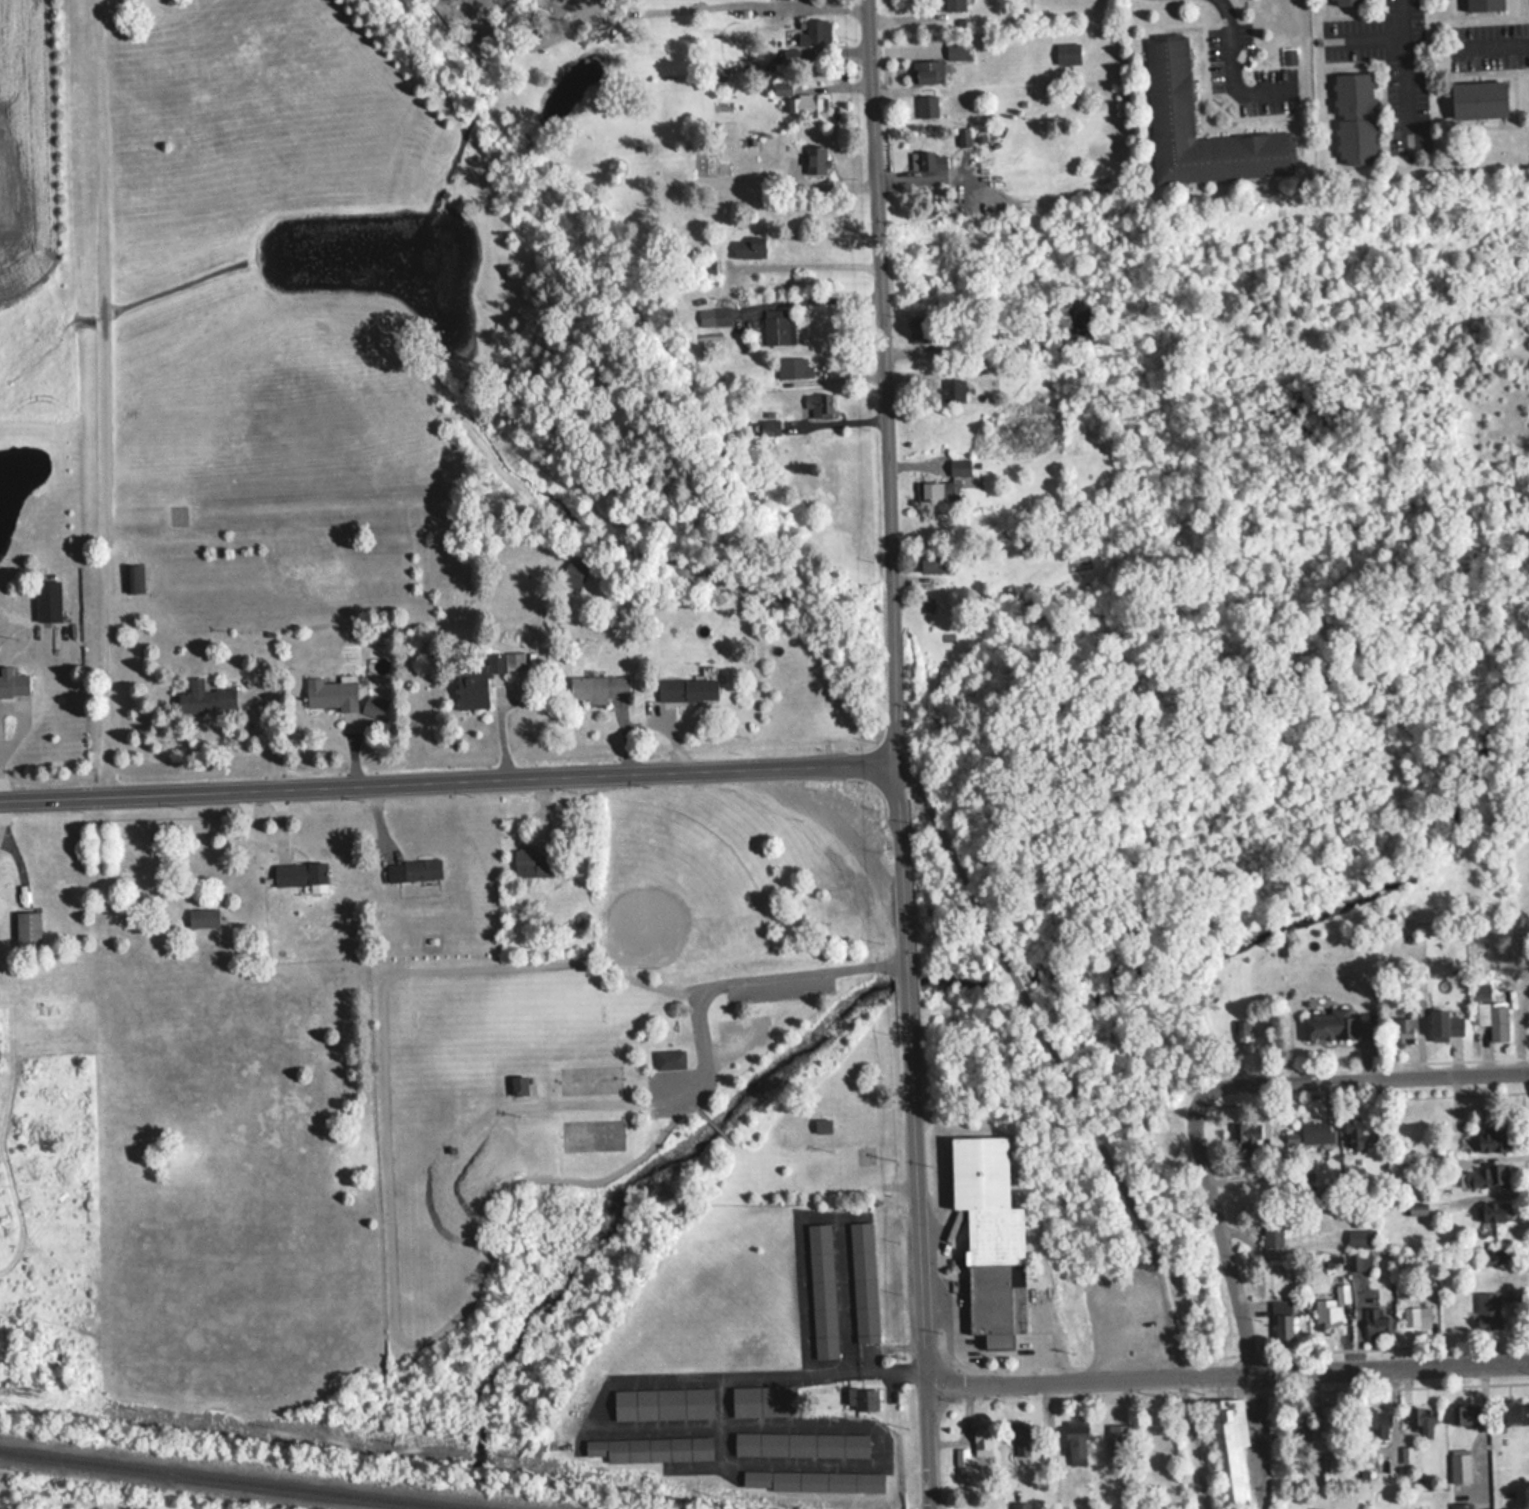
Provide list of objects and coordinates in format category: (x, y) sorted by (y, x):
building: (1345, 2)
building: (1483, 4)
building: (954, 5)
road: (784, 11)
building: (813, 31)
road: (1363, 37)
road: (1492, 42)
building: (956, 49)
building: (1067, 53)
building: (793, 55)
road: (1404, 68)
building: (927, 70)
road: (1235, 70)
building: (1169, 83)
building: (1478, 99)
building: (801, 101)
building: (927, 105)
building: (1354, 117)
building: (815, 160)
building: (930, 160)
building: (748, 247)
road: (801, 260)
building: (707, 267)
road: (800, 294)
building: (715, 316)
building: (778, 327)
building: (922, 332)
building: (977, 365)
building: (794, 367)
building: (953, 390)
road: (102, 396)
building: (818, 405)
building: (959, 467)
road: (882, 468)
building: (936, 491)
building: (929, 564)
building: (575, 571)
building: (133, 578)
building: (47, 600)
building: (927, 604)
building: (483, 677)
building: (13, 683)
building: (598, 686)
building: (689, 687)
building: (330, 694)
building: (205, 698)
building: (373, 706)
road: (846, 733)
road: (804, 765)
road: (358, 782)
road: (836, 822)
building: (530, 863)
building: (413, 870)
building: (300, 876)
park: (676, 887)
building: (202, 918)
building: (27, 929)
road: (735, 981)
parking lot: (778, 986)
park: (510, 1016)
building: (1498, 1022)
building: (1446, 1023)
building: (1327, 1025)
building: (1404, 1029)
building: (1241, 1032)
road: (1527, 1039)
building: (669, 1059)
parking lot: (701, 1067)
road: (1356, 1076)
building: (518, 1085)
park: (621, 1095)
building: (822, 1125)
building: (1315, 1132)
building: (1355, 1135)
building: (1248, 1138)
building: (1491, 1141)
building: (1483, 1176)
road: (388, 1194)
building: (1417, 1209)
building: (1493, 1211)
road: (917, 1222)
building: (1272, 1232)
road: (1222, 1234)
building: (989, 1237)
building: (1361, 1238)
building: (1494, 1255)
building: (1359, 1262)
building: (864, 1281)
building: (822, 1289)
building: (1331, 1308)
building: (1487, 1311)
building: (1417, 1316)
building: (1281, 1320)
building: (1378, 1324)
building: (1207, 1343)
road: (1227, 1373)
road: (768, 1374)
building: (862, 1396)
building: (763, 1399)
building: (663, 1402)
building: (1509, 1410)
building: (1464, 1413)
building: (1422, 1418)
building: (1329, 1420)
building: (1372, 1423)
building: (1118, 1439)
building: (1075, 1440)
building: (800, 1443)
building: (650, 1448)
building: (1229, 1448)
railway: (233, 1479)
building: (812, 1480)
building: (1461, 1506)

